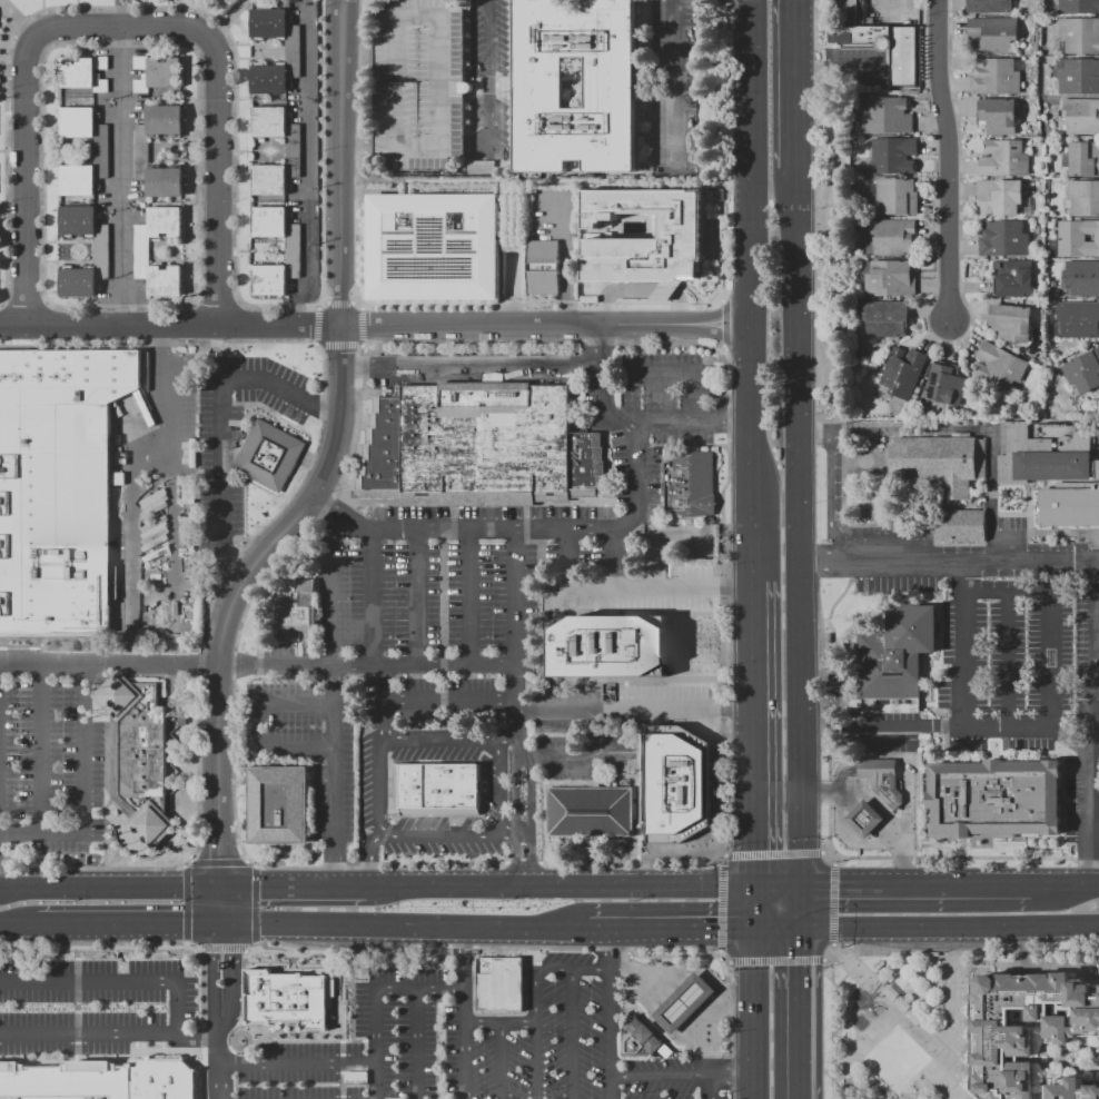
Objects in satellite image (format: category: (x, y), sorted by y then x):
building: (989, 6)
road: (890, 7)
building: (1078, 7)
parking lot: (890, 10)
road: (729, 11)
building: (852, 11)
road: (133, 27)
building: (992, 33)
building: (1079, 34)
building: (888, 47)
road: (396, 50)
building: (291, 51)
building: (83, 73)
building: (157, 73)
building: (996, 76)
building: (1079, 76)
road: (487, 81)
building: (611, 81)
building: (417, 83)
parking lot: (417, 83)
road: (793, 83)
road: (672, 85)
road: (438, 109)
road: (396, 113)
building: (887, 116)
building: (998, 116)
building: (1079, 116)
road: (353, 146)
road: (416, 146)
road: (711, 149)
building: (293, 150)
building: (100, 151)
building: (140, 151)
building: (893, 156)
road: (947, 156)
building: (1083, 158)
building: (1004, 159)
road: (340, 161)
building: (479, 166)
road: (749, 169)
road: (24, 172)
road: (120, 176)
road: (215, 187)
building: (895, 197)
building: (999, 197)
building: (1083, 198)
road: (824, 215)
building: (679, 234)
building: (893, 236)
building: (1078, 238)
building: (1004, 239)
building: (432, 247)
building: (100, 250)
building: (140, 251)
building: (291, 251)
building: (543, 267)
building: (1082, 278)
building: (890, 279)
building: (1013, 279)
road: (615, 289)
road: (665, 291)
road: (794, 293)
road: (719, 298)
road: (679, 308)
road: (719, 314)
building: (885, 318)
building: (1078, 319)
building: (1010, 321)
road: (722, 323)
road: (514, 324)
road: (169, 327)
road: (719, 333)
road: (721, 347)
road: (468, 365)
building: (1000, 366)
building: (1083, 370)
building: (902, 372)
road: (685, 375)
building: (945, 385)
road: (324, 407)
road: (217, 417)
road: (631, 420)
road: (137, 425)
road: (956, 432)
building: (478, 447)
road: (161, 448)
building: (270, 455)
building: (1042, 456)
road: (749, 459)
building: (940, 463)
building: (691, 483)
building: (58, 485)
road: (174, 491)
road: (832, 497)
building: (1071, 505)
road: (796, 506)
building: (962, 526)
road: (519, 528)
parking lot: (522, 538)
road: (133, 552)
road: (615, 557)
road: (948, 558)
road: (228, 564)
parking lot: (972, 566)
road: (627, 586)
road: (327, 587)
road: (235, 591)
road: (469, 595)
road: (514, 595)
road: (372, 596)
road: (417, 596)
road: (721, 597)
building: (294, 610)
road: (1049, 614)
road: (963, 642)
building: (606, 646)
building: (894, 654)
road: (1006, 656)
parking lot: (1007, 663)
road: (305, 665)
road: (1097, 676)
road: (451, 700)
road: (385, 701)
road: (838, 702)
road: (633, 710)
road: (1095, 722)
road: (251, 725)
road: (880, 726)
road: (1006, 726)
parking lot: (880, 731)
road: (593, 734)
road: (750, 734)
road: (509, 736)
road: (798, 740)
road: (41, 749)
building: (137, 755)
road: (573, 759)
road: (877, 769)
road: (905, 769)
parking lot: (50, 771)
road: (841, 774)
road: (334, 775)
building: (882, 780)
parking lot: (1083, 780)
road: (501, 783)
building: (675, 784)
road: (379, 786)
building: (436, 788)
road: (83, 790)
building: (993, 799)
road: (914, 803)
building: (278, 805)
road: (881, 806)
building: (590, 811)
flagpole: (389, 814)
flagpole: (395, 814)
building: (864, 819)
gas station: (864, 819)
road: (1097, 820)
road: (532, 821)
road: (516, 822)
road: (515, 831)
road: (722, 852)
road: (826, 852)
road: (772, 853)
road: (369, 855)
road: (833, 858)
road: (110, 887)
road: (379, 887)
road: (914, 887)
road: (1065, 887)
road: (295, 888)
road: (568, 888)
traffic signals: (750, 888)
road: (773, 888)
traffic signals: (798, 888)
traffic signals: (221, 889)
road: (721, 902)
road: (833, 903)
road: (750, 907)
road: (796, 907)
road: (220, 909)
road: (948, 924)
road: (773, 925)
traffic signals: (796, 925)
road: (669, 927)
traffic signals: (751, 927)
road: (18, 928)
road: (128, 928)
road: (403, 929)
traffic signals: (220, 930)
road: (613, 948)
road: (1023, 950)
road: (1033, 951)
road: (830, 952)
road: (899, 953)
road: (725, 954)
road: (230, 956)
road: (776, 960)
road: (212, 964)
road: (1049, 966)
road: (633, 968)
road: (879, 969)
road: (116, 980)
building: (499, 984)
road: (225, 992)
fountain: (859, 993)
road: (536, 996)
fountain: (857, 996)
fountain: (861, 996)
fountain: (854, 997)
fountain: (863, 998)
building: (301, 999)
road: (376, 999)
road: (687, 999)
fountain: (857, 999)
fountain: (861, 1000)
fountain: (860, 1001)
building: (683, 1002)
gas station: (683, 1002)
road: (727, 1004)
building: (902, 1004)
road: (752, 1012)
road: (796, 1012)
road: (465, 1013)
road: (219, 1018)
fountain: (859, 1018)
fountain: (857, 1020)
fountain: (862, 1020)
road: (612, 1022)
fountain: (855, 1022)
fountain: (863, 1022)
park: (899, 1023)
road: (501, 1024)
fountain: (857, 1024)
fountain: (861, 1024)
parking lot: (343, 1026)
fountain: (859, 1026)
road: (952, 1026)
building: (1027, 1026)
road: (899, 1028)
road: (929, 1032)
road: (573, 1033)
road: (110, 1034)
building: (637, 1037)
road: (416, 1043)
road: (842, 1056)
road: (501, 1062)
road: (298, 1063)
road: (220, 1066)
road: (661, 1076)
road: (732, 1076)
building: (100, 1081)
road: (612, 1087)
road: (711, 1087)
building: (1070, 1089)
road: (220, 1098)

